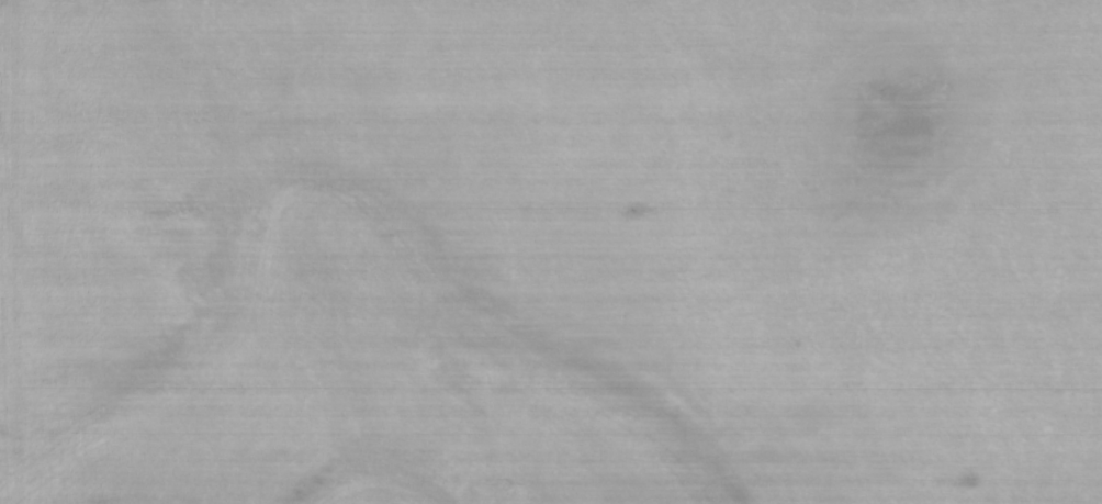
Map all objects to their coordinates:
crop: (551, 251)

